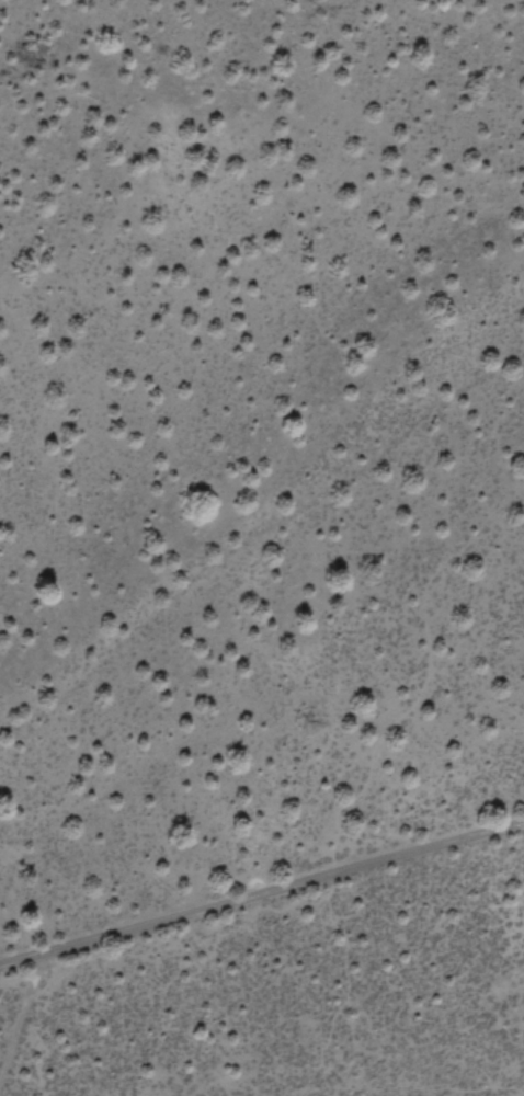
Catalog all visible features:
road: (262, 892)
airport runway: (2, 1073)
airport runway: (444, 1077)

